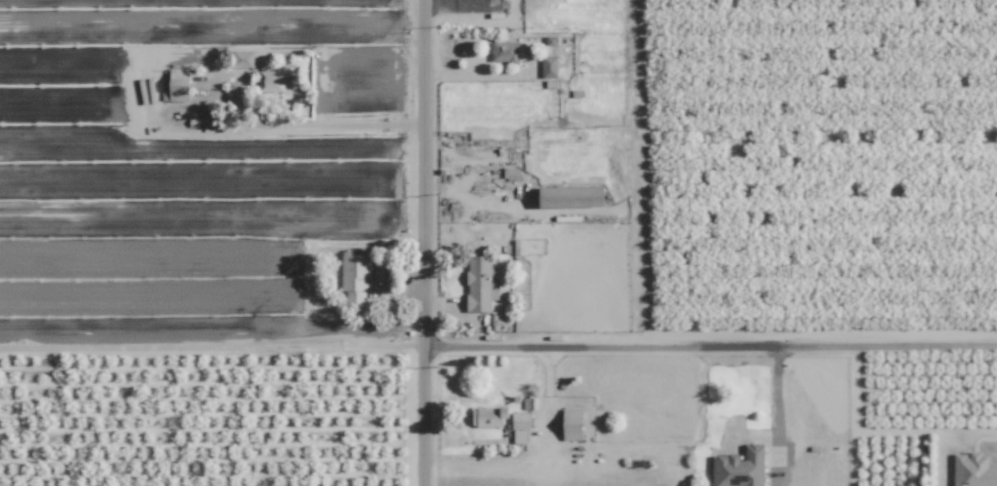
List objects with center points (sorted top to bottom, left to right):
building: (506, 52)
building: (248, 59)
building: (549, 67)
building: (274, 82)
building: (179, 85)
road: (342, 124)
crop: (828, 166)
building: (571, 197)
road: (423, 243)
building: (518, 247)
building: (355, 279)
building: (480, 284)
road: (498, 349)
building: (488, 417)
road: (776, 417)
building: (521, 421)
building: (572, 425)
crop: (205, 426)
building: (519, 436)
road: (539, 461)
building: (739, 468)
building: (973, 470)

